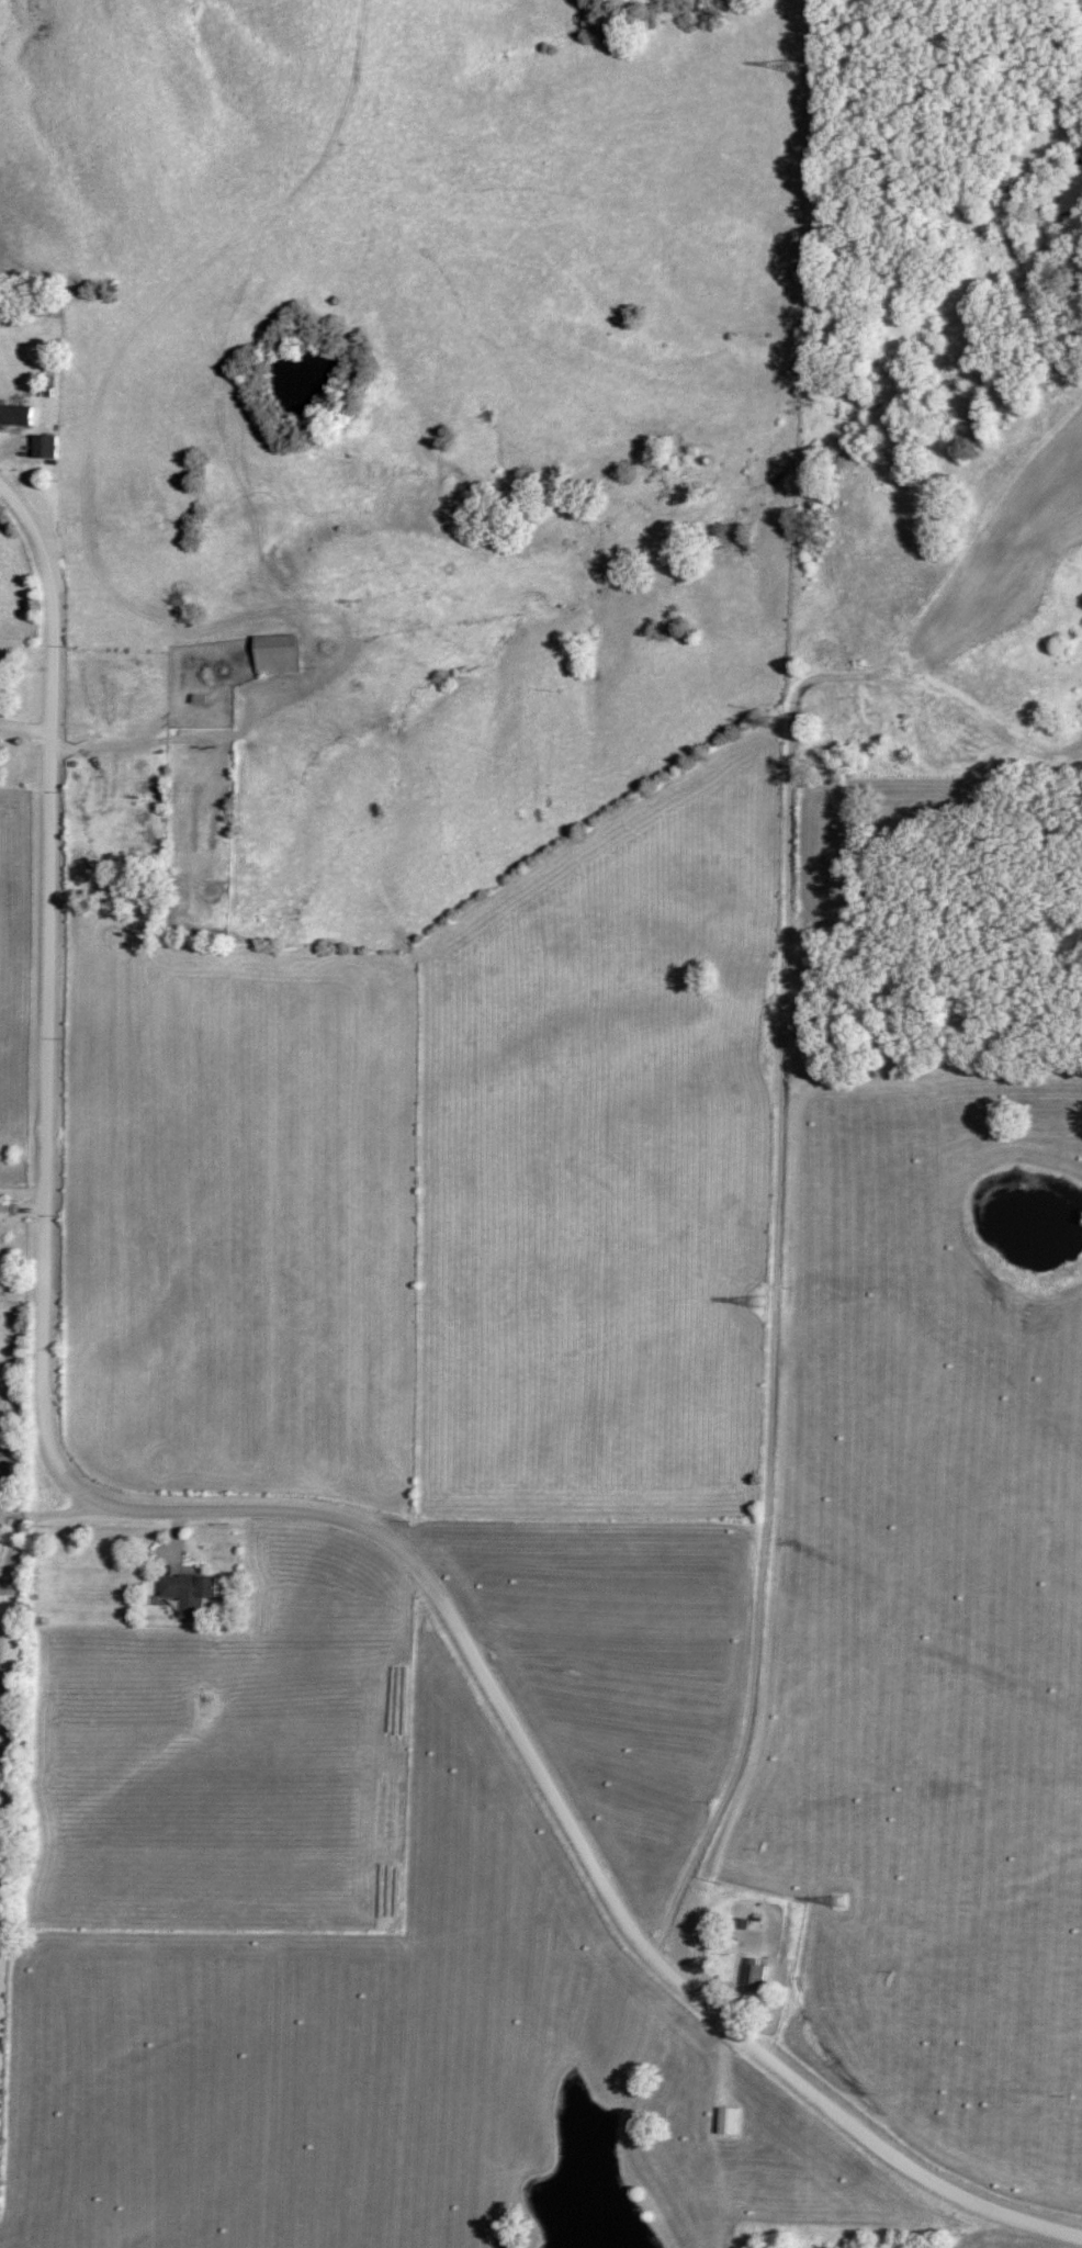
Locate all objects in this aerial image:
power tower: (797, 67)
building: (15, 417)
building: (45, 448)
building: (279, 654)
power tower: (771, 720)
road: (189, 738)
building: (2, 1238)
power tower: (752, 1302)
road: (774, 1302)
road: (225, 1514)
building: (192, 1594)
power tower: (835, 1897)
building: (756, 1978)
building: (729, 2122)

